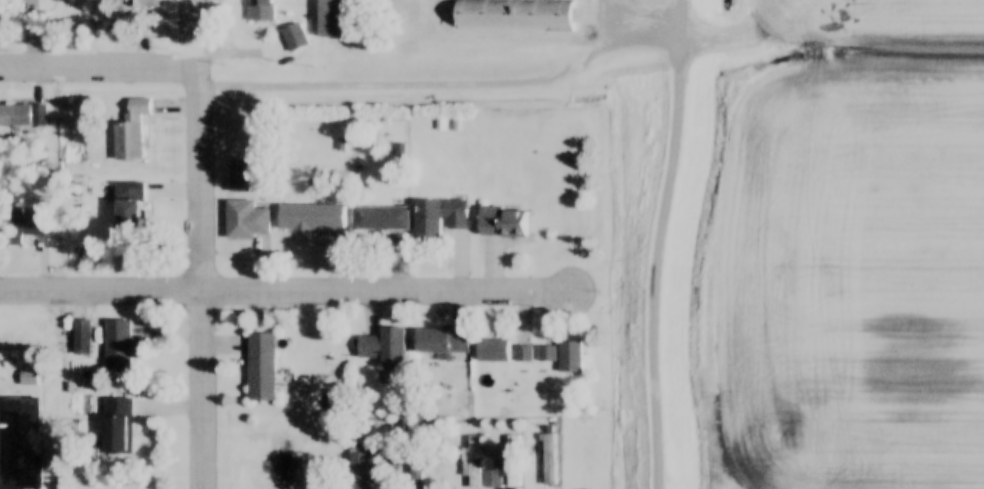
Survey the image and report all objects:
building: (142, 4)
building: (260, 10)
building: (513, 15)
building: (333, 21)
building: (293, 37)
road: (627, 38)
road: (97, 67)
building: (22, 114)
building: (130, 130)
building: (128, 204)
building: (310, 216)
building: (438, 217)
building: (380, 218)
building: (244, 219)
building: (500, 220)
building: (20, 223)
road: (652, 243)
road: (198, 244)
road: (100, 290)
road: (385, 291)
building: (81, 336)
building: (441, 340)
building: (121, 343)
building: (382, 345)
building: (492, 350)
building: (545, 352)
building: (522, 353)
building: (569, 357)
building: (261, 366)
building: (116, 425)
building: (19, 442)
building: (548, 459)
building: (513, 463)
building: (362, 468)
building: (416, 473)

